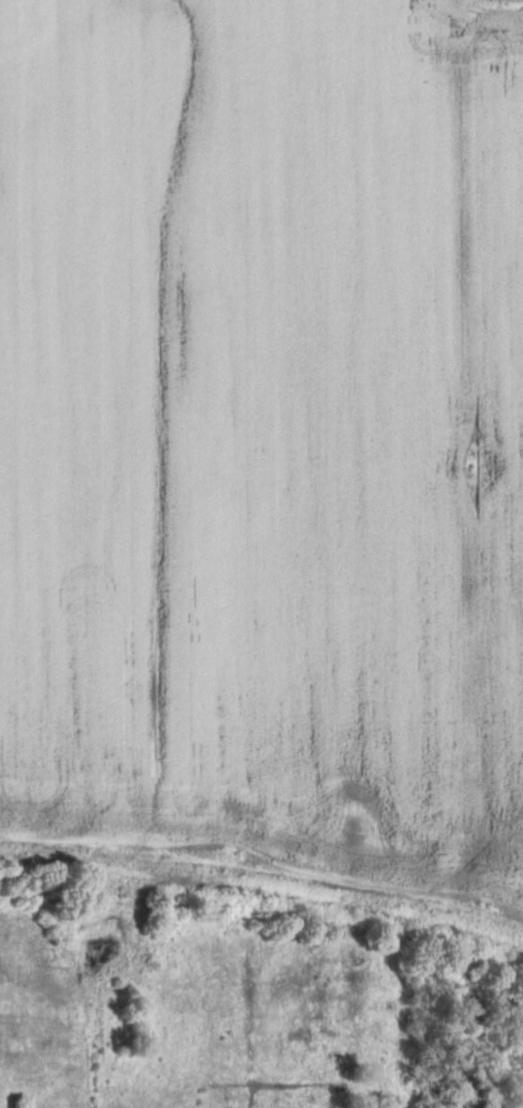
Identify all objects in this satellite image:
crop: (265, 439)
building: (424, 1077)

